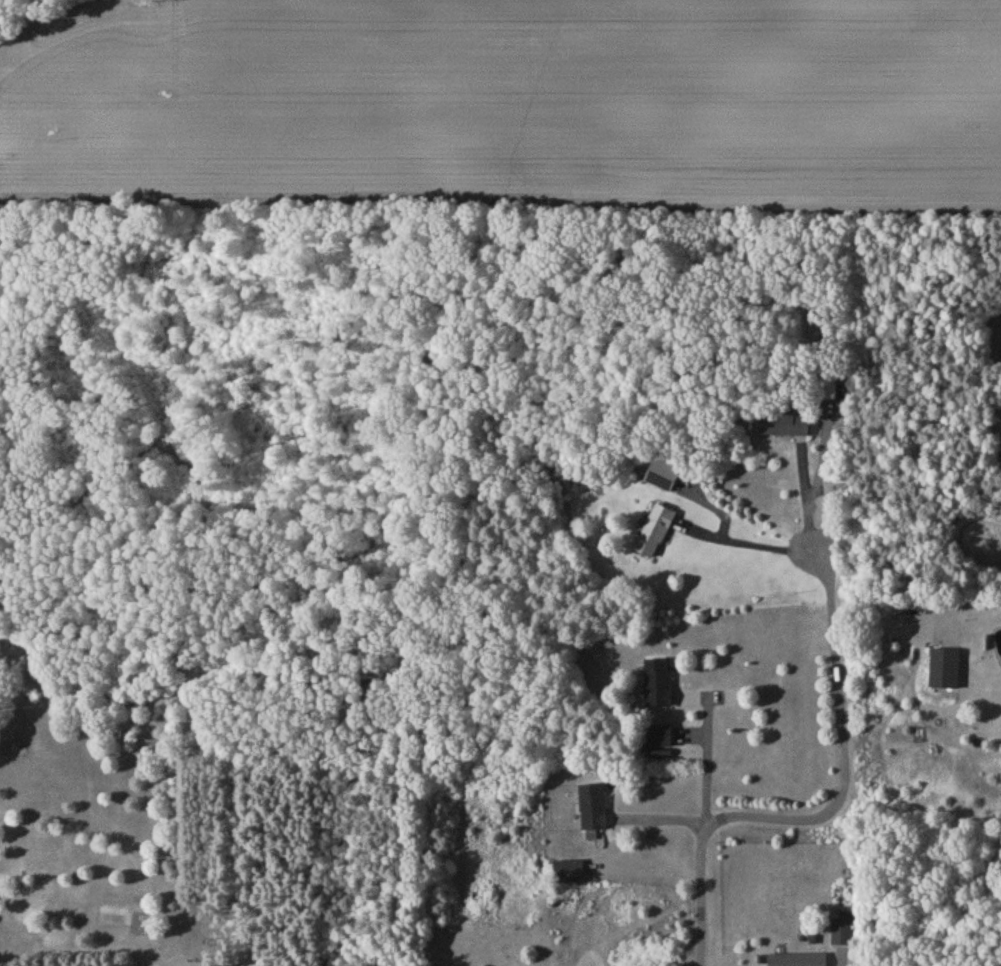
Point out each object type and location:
road: (41, 17)
building: (830, 391)
building: (785, 426)
building: (664, 479)
road: (804, 498)
building: (656, 533)
road: (750, 545)
building: (946, 671)
building: (660, 685)
building: (657, 738)
road: (707, 772)
building: (594, 810)
road: (835, 811)
building: (570, 874)
building: (843, 934)
building: (799, 961)

